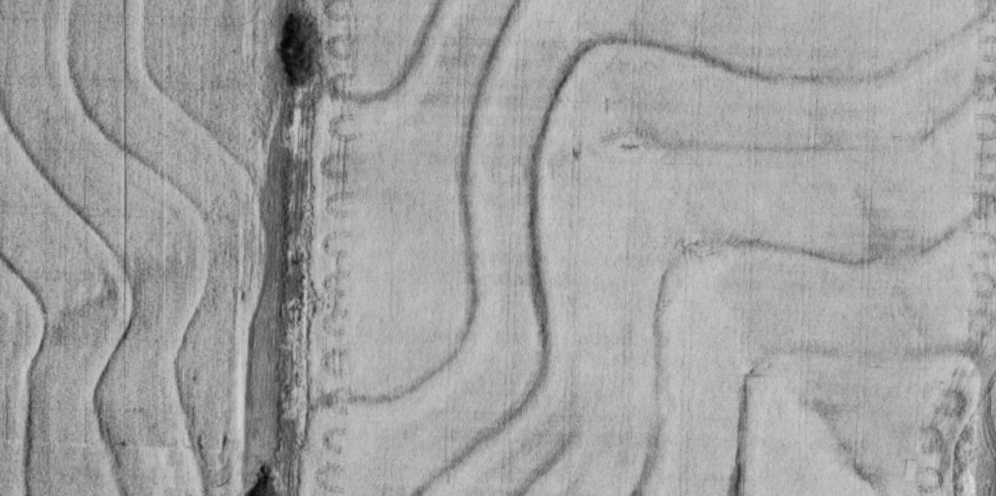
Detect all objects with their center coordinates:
crop: (644, 248)

